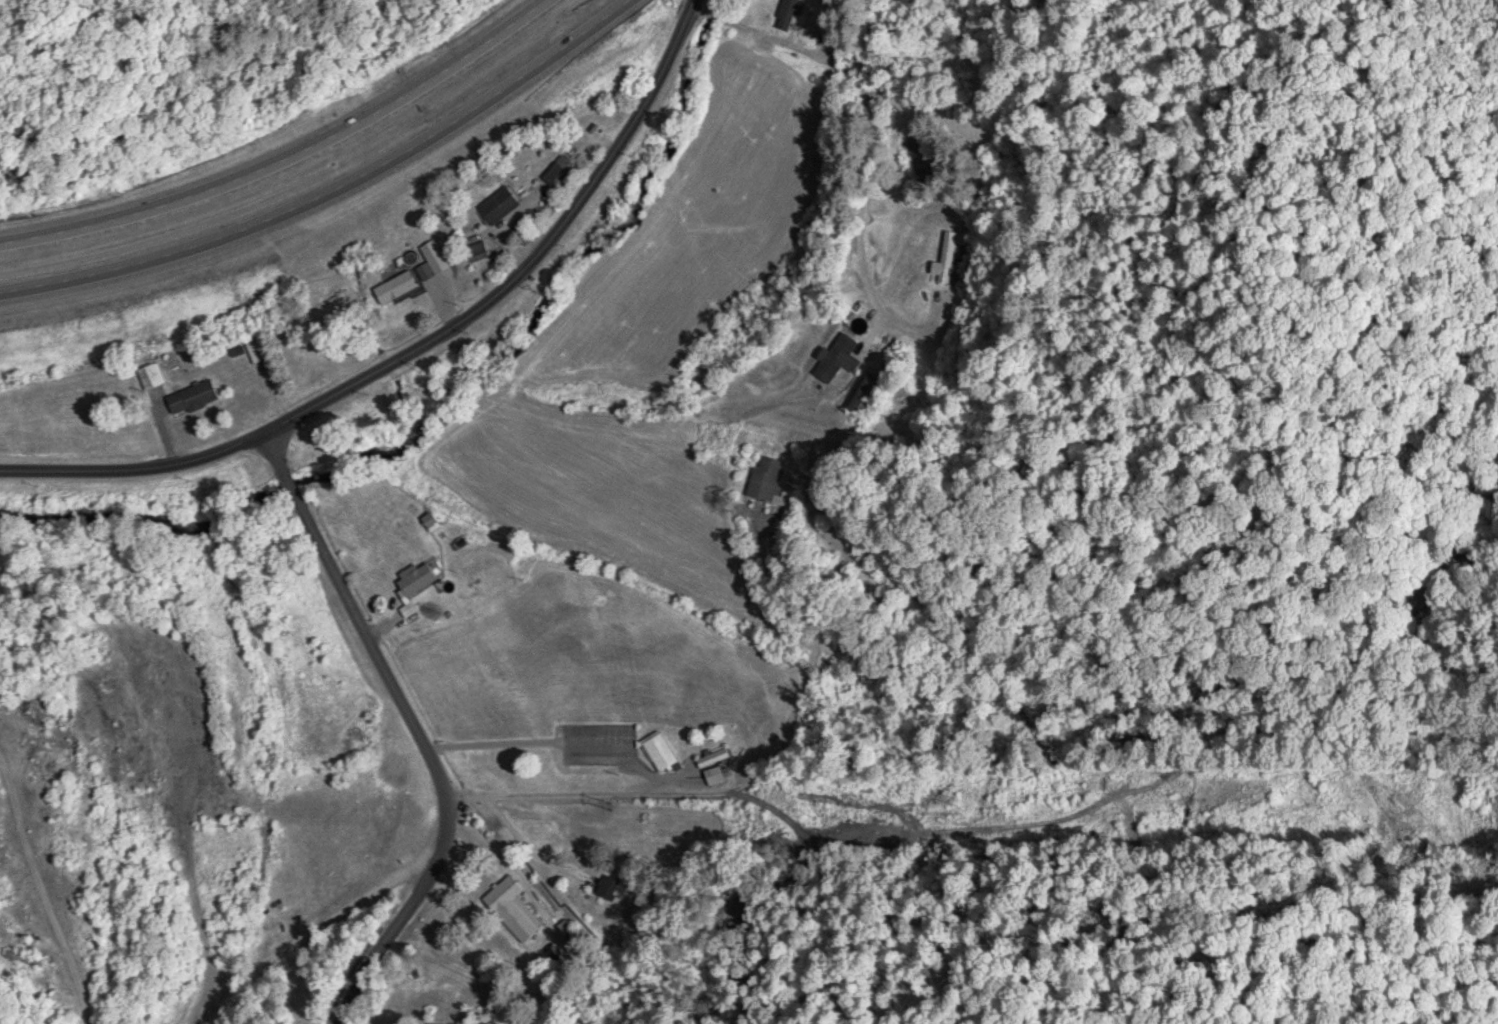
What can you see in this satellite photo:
building: (791, 10)
road: (862, 93)
road: (288, 157)
building: (560, 169)
road: (334, 188)
building: (505, 204)
building: (481, 252)
building: (438, 257)
building: (948, 258)
building: (403, 284)
road: (421, 342)
building: (261, 350)
building: (841, 356)
building: (155, 375)
building: (868, 394)
building: (197, 396)
building: (769, 479)
building: (778, 550)
building: (421, 576)
road: (402, 726)
building: (663, 751)
road: (674, 760)
building: (716, 765)
building: (613, 887)
building: (514, 907)
building: (26, 957)

